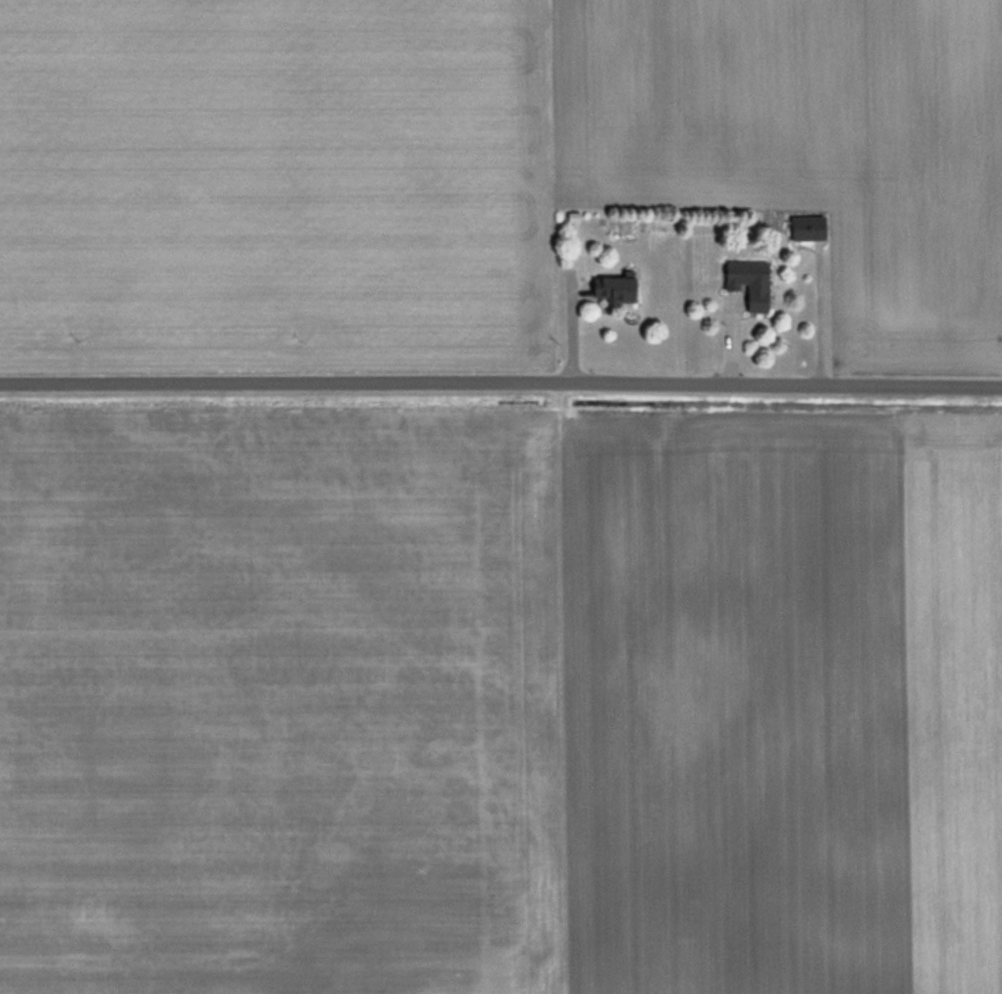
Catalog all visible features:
building: (806, 227)
building: (748, 281)
building: (613, 288)
road: (500, 387)

